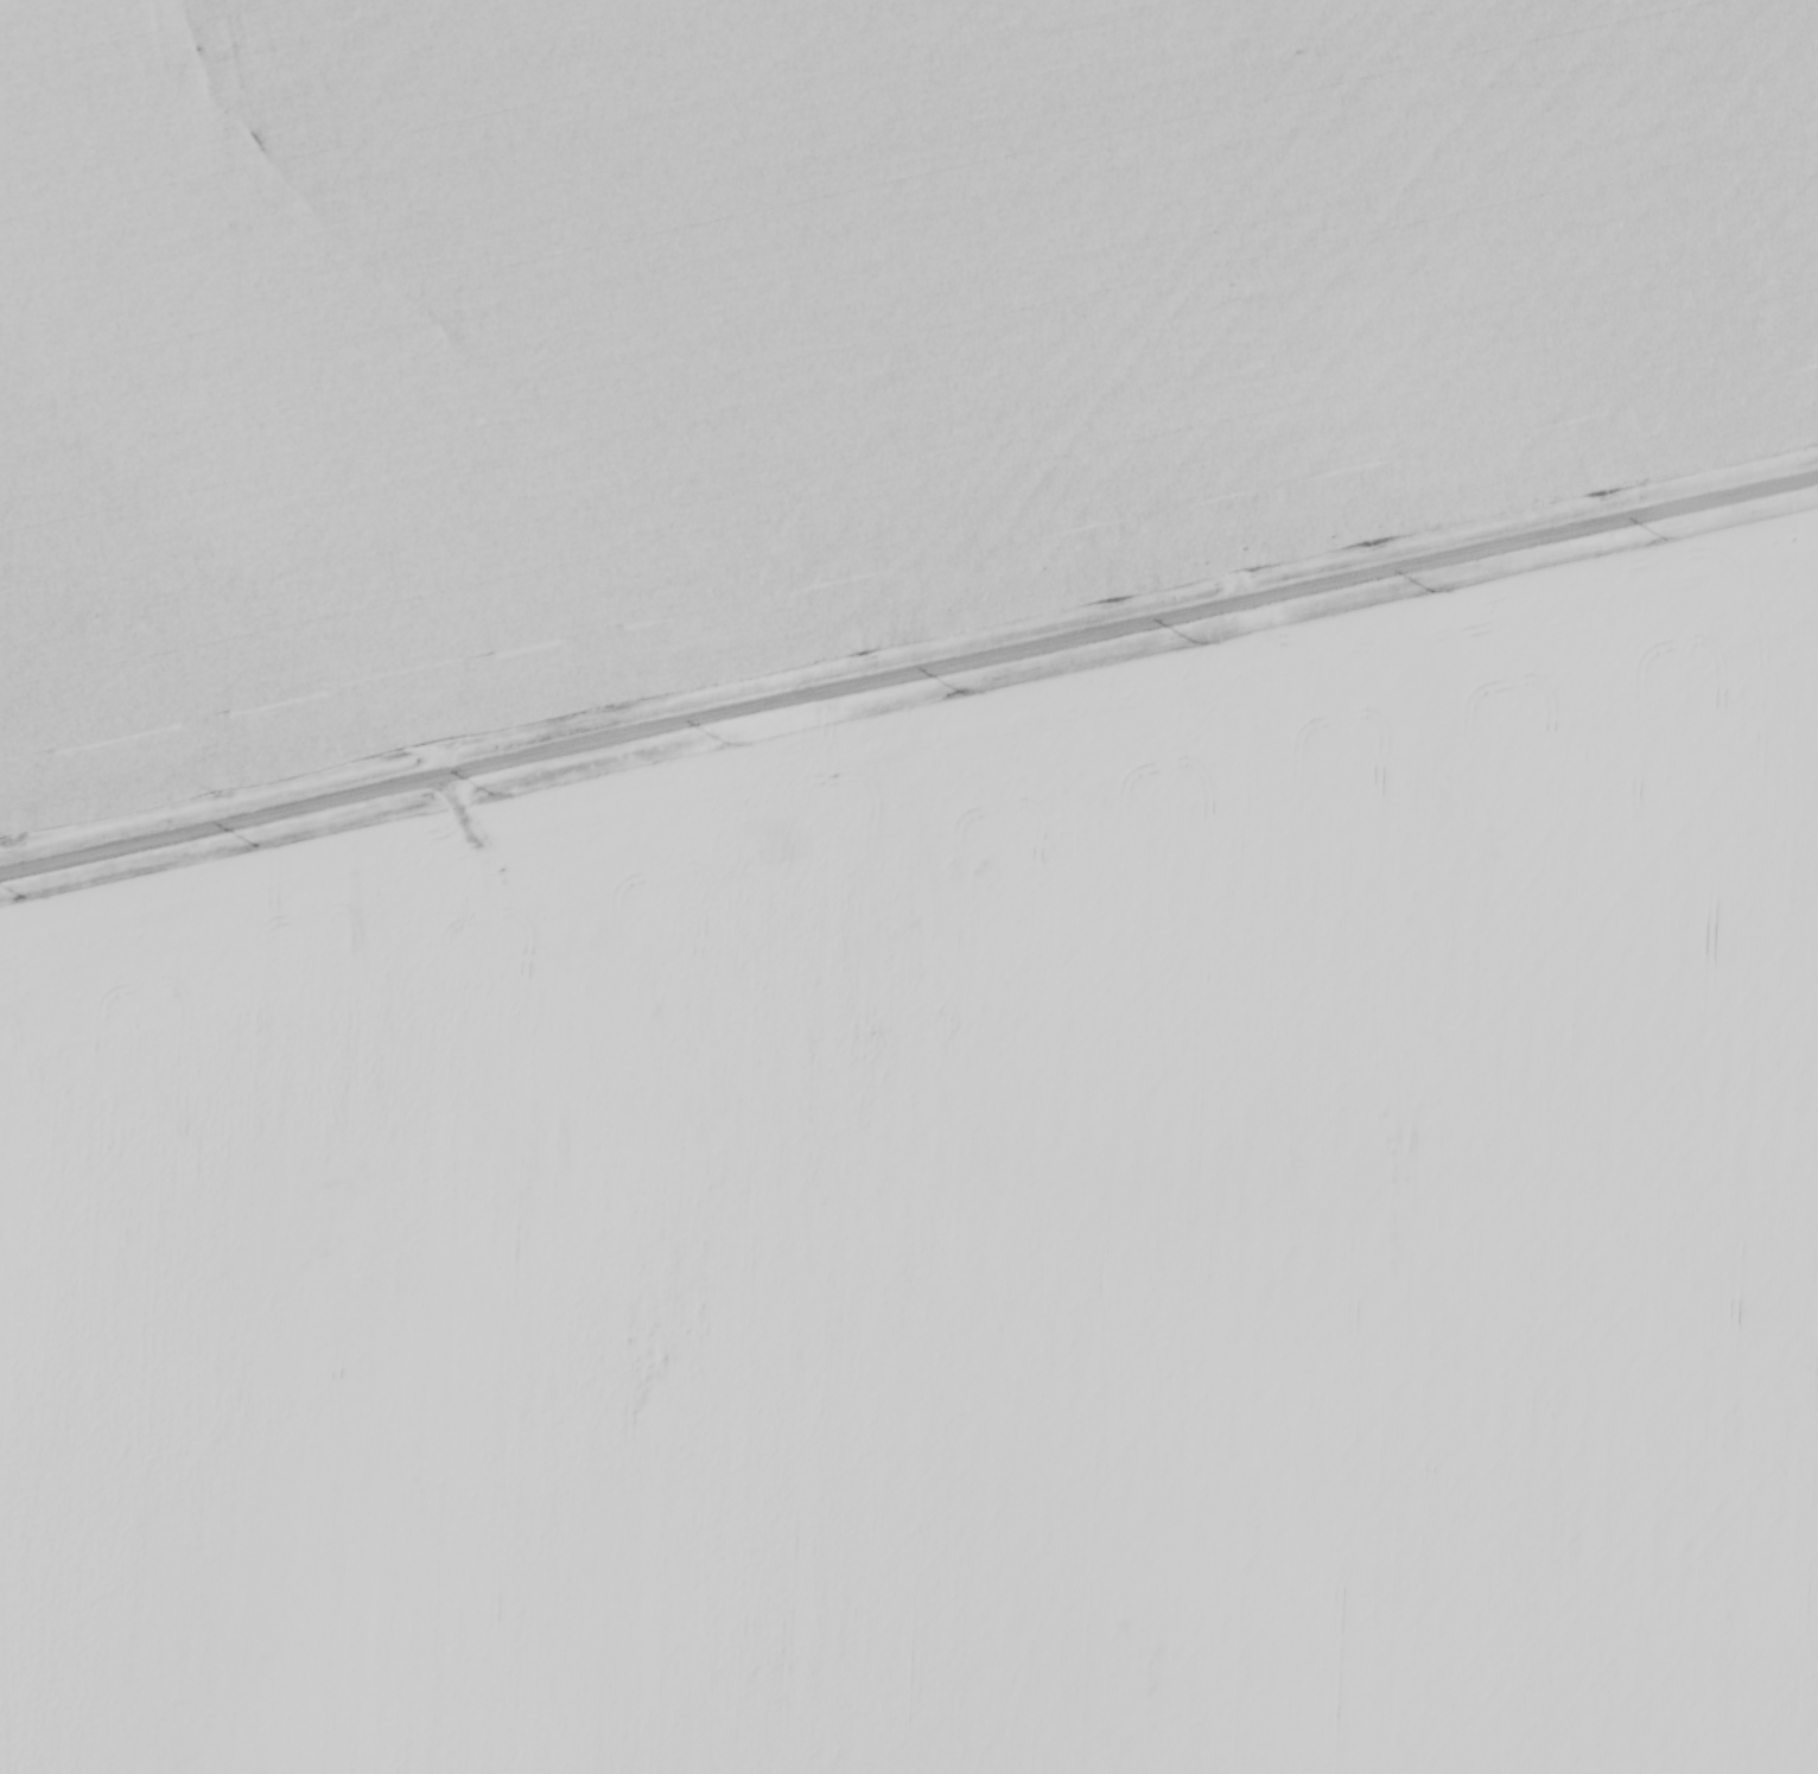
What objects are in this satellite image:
road: (909, 674)

